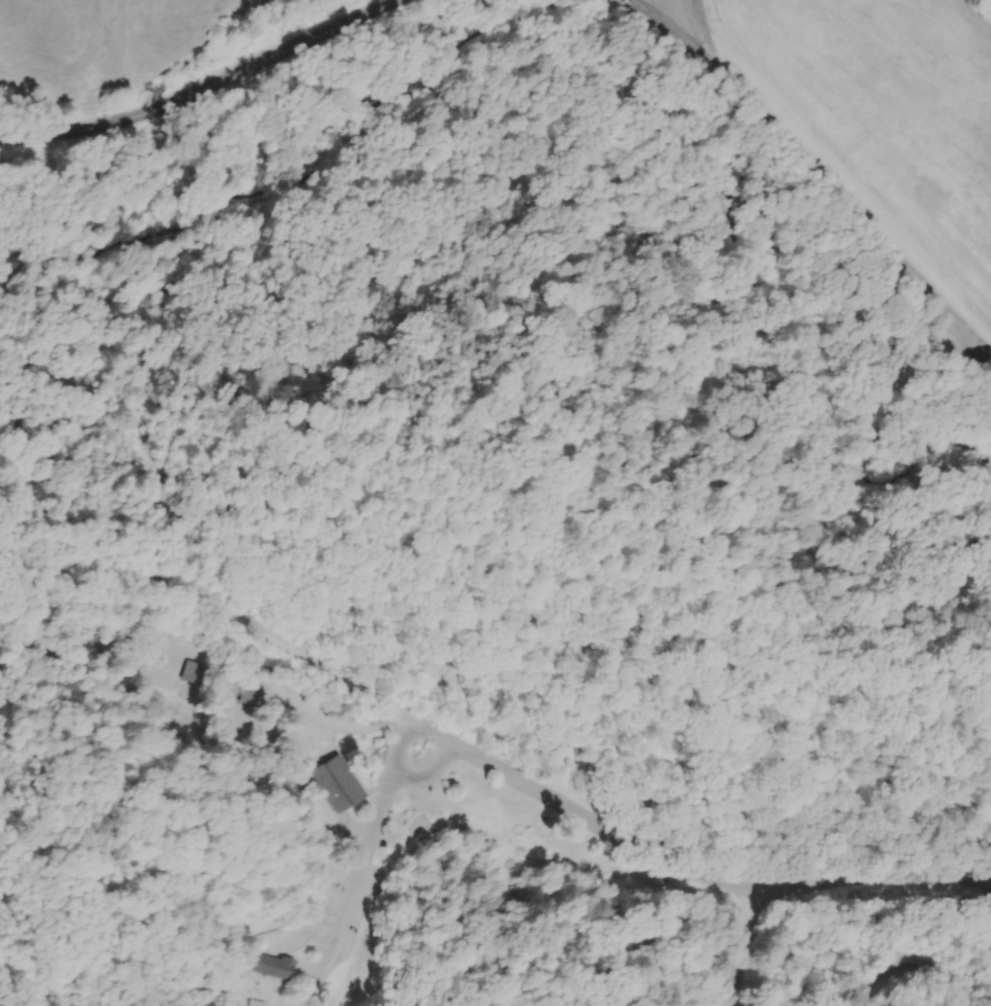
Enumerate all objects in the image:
road: (674, 14)
road: (426, 28)
road: (204, 90)
road: (816, 173)
road: (746, 180)
road: (172, 202)
road: (55, 355)
parking lot: (964, 355)
building: (883, 357)
road: (918, 362)
road: (879, 410)
road: (920, 418)
road: (894, 433)
park: (205, 465)
road: (865, 478)
road: (174, 497)
road: (928, 497)
road: (524, 504)
road: (847, 531)
park: (499, 540)
road: (216, 606)
road: (384, 610)
building: (130, 659)
building: (191, 673)
road: (647, 689)
building: (247, 694)
road: (170, 697)
building: (288, 712)
building: (170, 733)
road: (393, 747)
road: (883, 754)
road: (377, 770)
road: (350, 781)
road: (430, 782)
building: (335, 790)
road: (367, 805)
road: (344, 819)
road: (784, 850)
road: (685, 863)
road: (621, 883)
parking lot: (355, 895)
road: (352, 896)
park: (734, 937)
road: (307, 941)
road: (758, 948)
road: (903, 965)
building: (279, 968)
road: (627, 989)
road: (280, 992)
building: (264, 1003)

